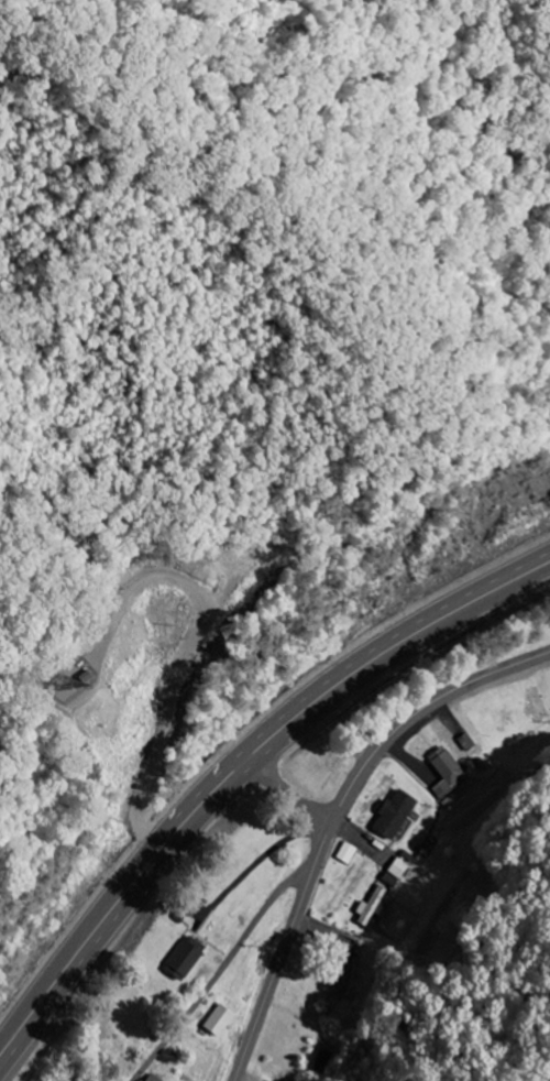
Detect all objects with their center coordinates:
road: (194, 654)
road: (267, 758)
road: (240, 767)
building: (447, 773)
building: (393, 815)
road: (335, 819)
building: (344, 853)
building: (395, 873)
building: (371, 907)
road: (253, 919)
building: (183, 959)
building: (339, 978)
building: (217, 1022)
building: (150, 1078)

